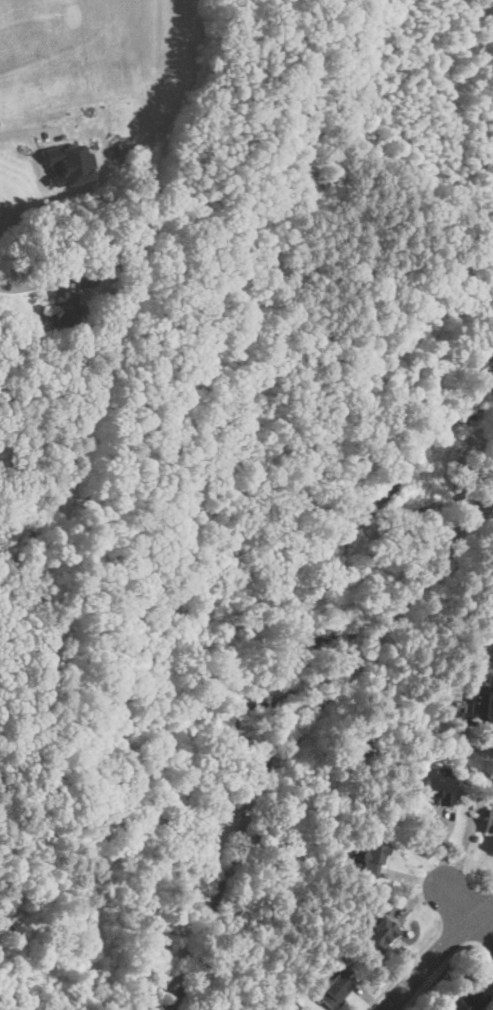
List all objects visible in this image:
road: (25, 127)
building: (69, 162)
building: (87, 276)
road: (25, 288)
building: (63, 309)
road: (471, 498)
road: (417, 515)
building: (482, 647)
building: (479, 708)
road: (270, 759)
building: (436, 785)
building: (490, 822)
building: (371, 860)
road: (488, 889)
road: (488, 901)
road: (456, 902)
road: (462, 909)
road: (482, 930)
building: (377, 936)
road: (436, 952)
road: (406, 966)
building: (333, 990)
building: (461, 1000)

